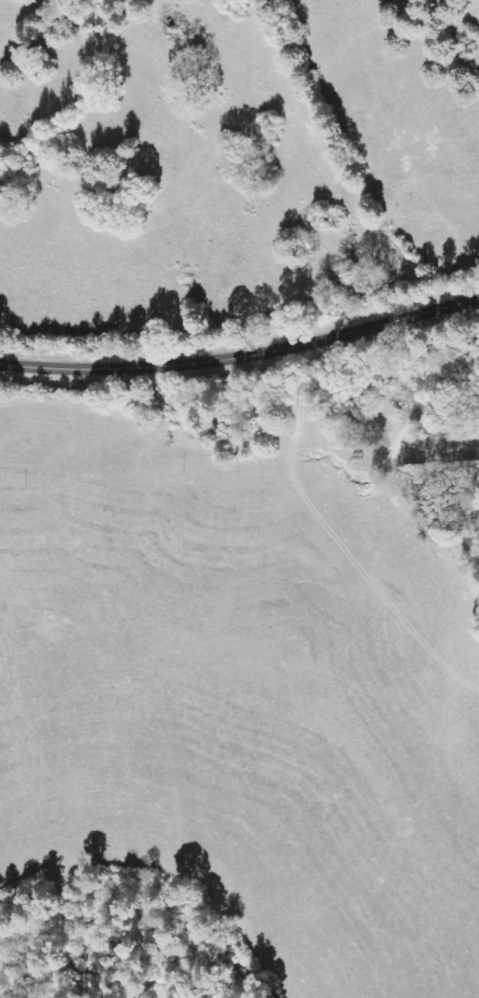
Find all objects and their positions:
road: (242, 354)

